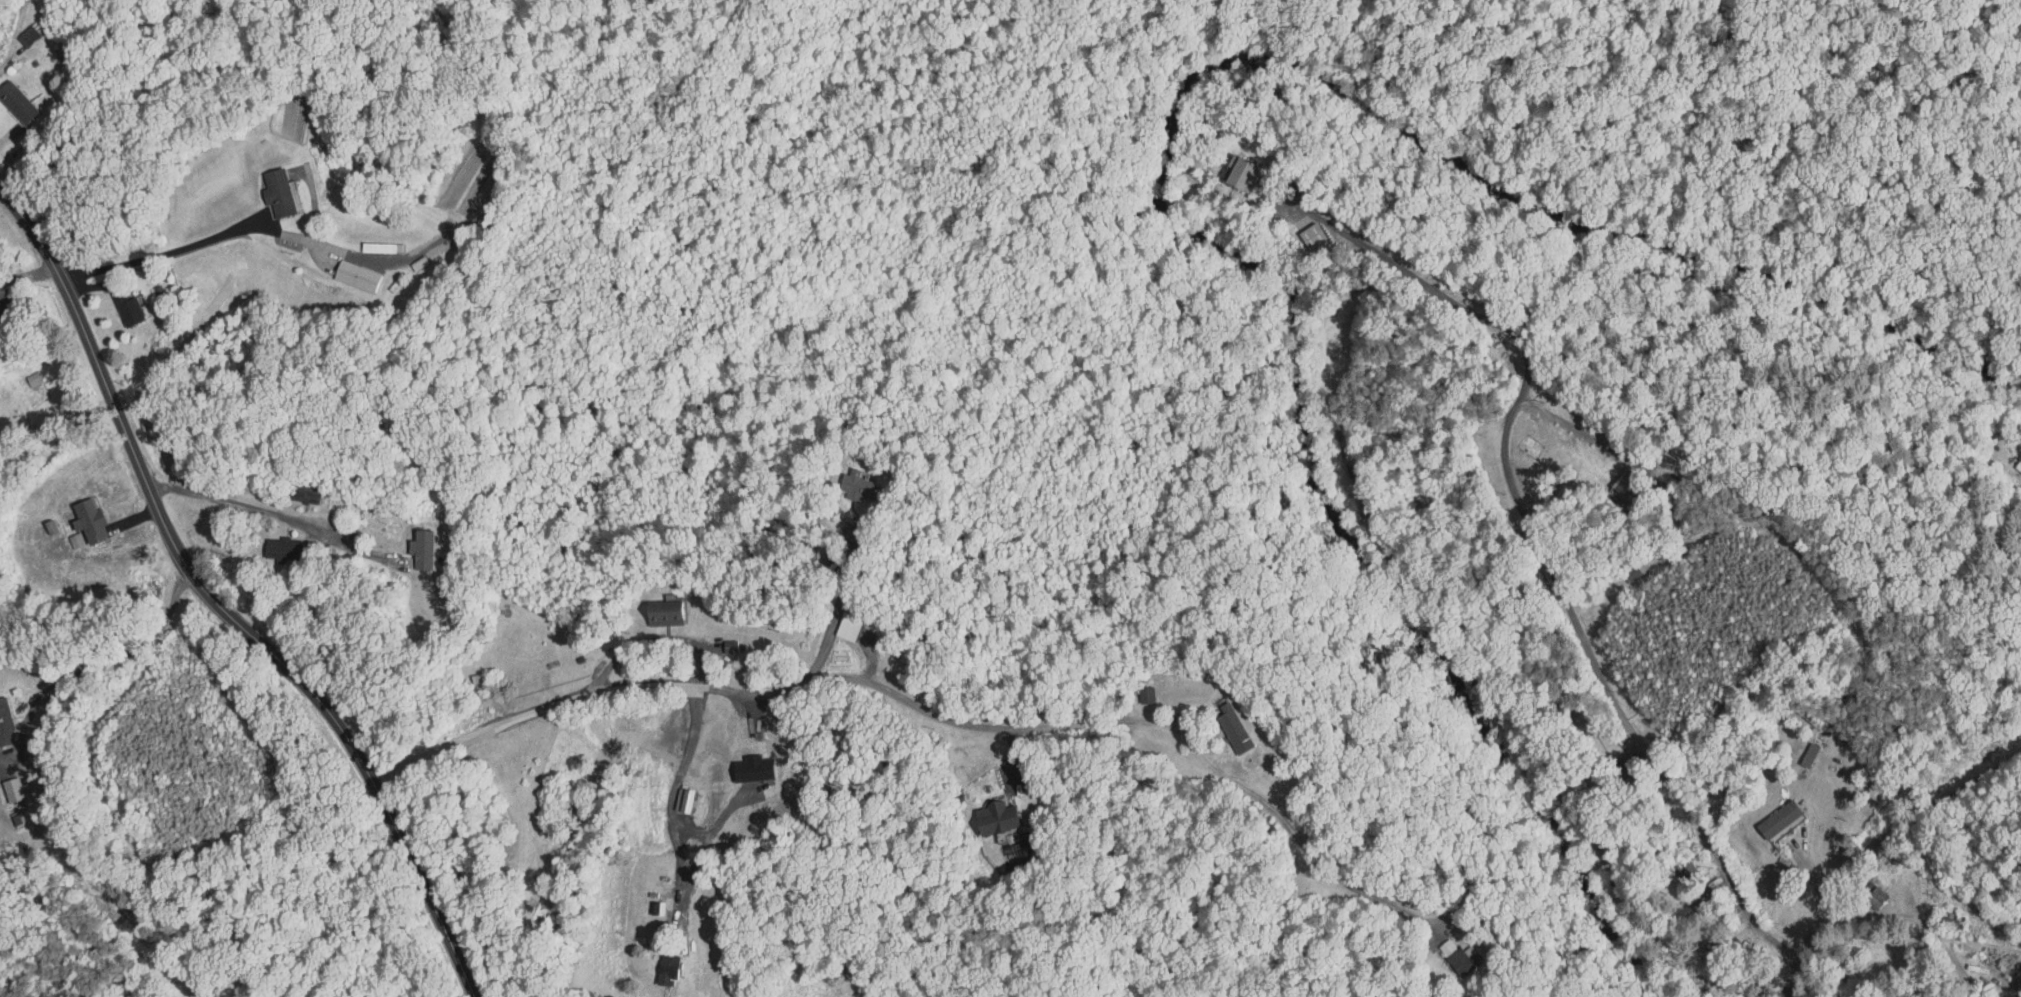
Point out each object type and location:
building: (15, 29)
road: (31, 50)
building: (9, 100)
building: (1229, 167)
building: (263, 186)
building: (1300, 229)
road: (161, 252)
building: (343, 269)
building: (117, 305)
road: (1576, 427)
building: (845, 480)
building: (1611, 482)
road: (273, 511)
building: (77, 514)
road: (1535, 534)
building: (269, 542)
building: (407, 543)
road: (219, 606)
building: (650, 607)
road: (837, 608)
building: (833, 620)
road: (655, 638)
road: (864, 640)
road: (102, 661)
building: (1135, 687)
road: (963, 714)
building: (0, 721)
building: (1220, 721)
building: (0, 734)
building: (1796, 747)
building: (3, 782)
road: (707, 795)
building: (982, 810)
building: (1766, 812)
road: (1870, 848)
road: (1816, 874)
road: (252, 888)
road: (1924, 926)
building: (1445, 949)
building: (654, 962)

